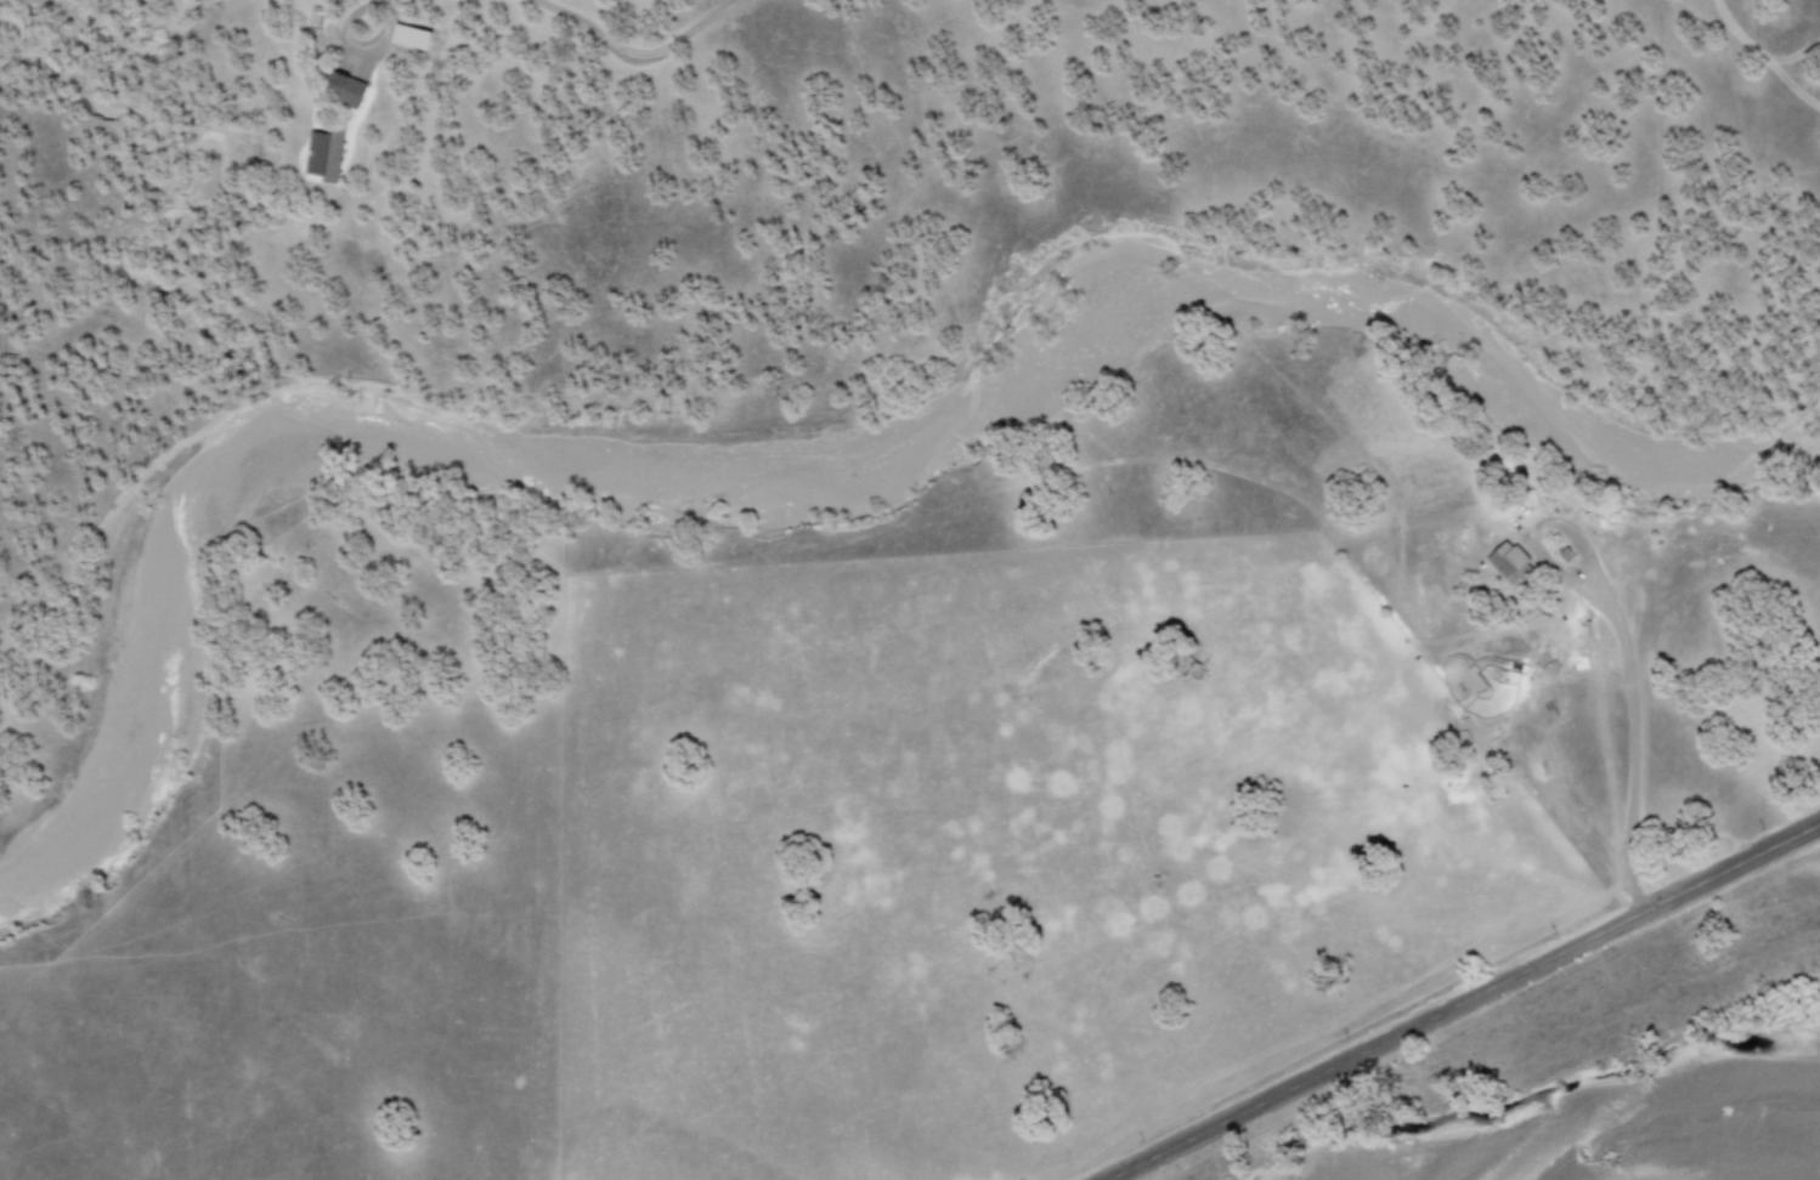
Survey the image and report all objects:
building: (411, 36)
building: (346, 87)
building: (326, 154)
road: (1160, 456)
river: (807, 517)
building: (1510, 563)
road: (575, 612)
road: (641, 618)
road: (1621, 643)
road: (1598, 730)
road: (618, 739)
road: (882, 739)
road: (1536, 749)
road: (1131, 944)
road: (1473, 1004)
river: (1708, 1170)

